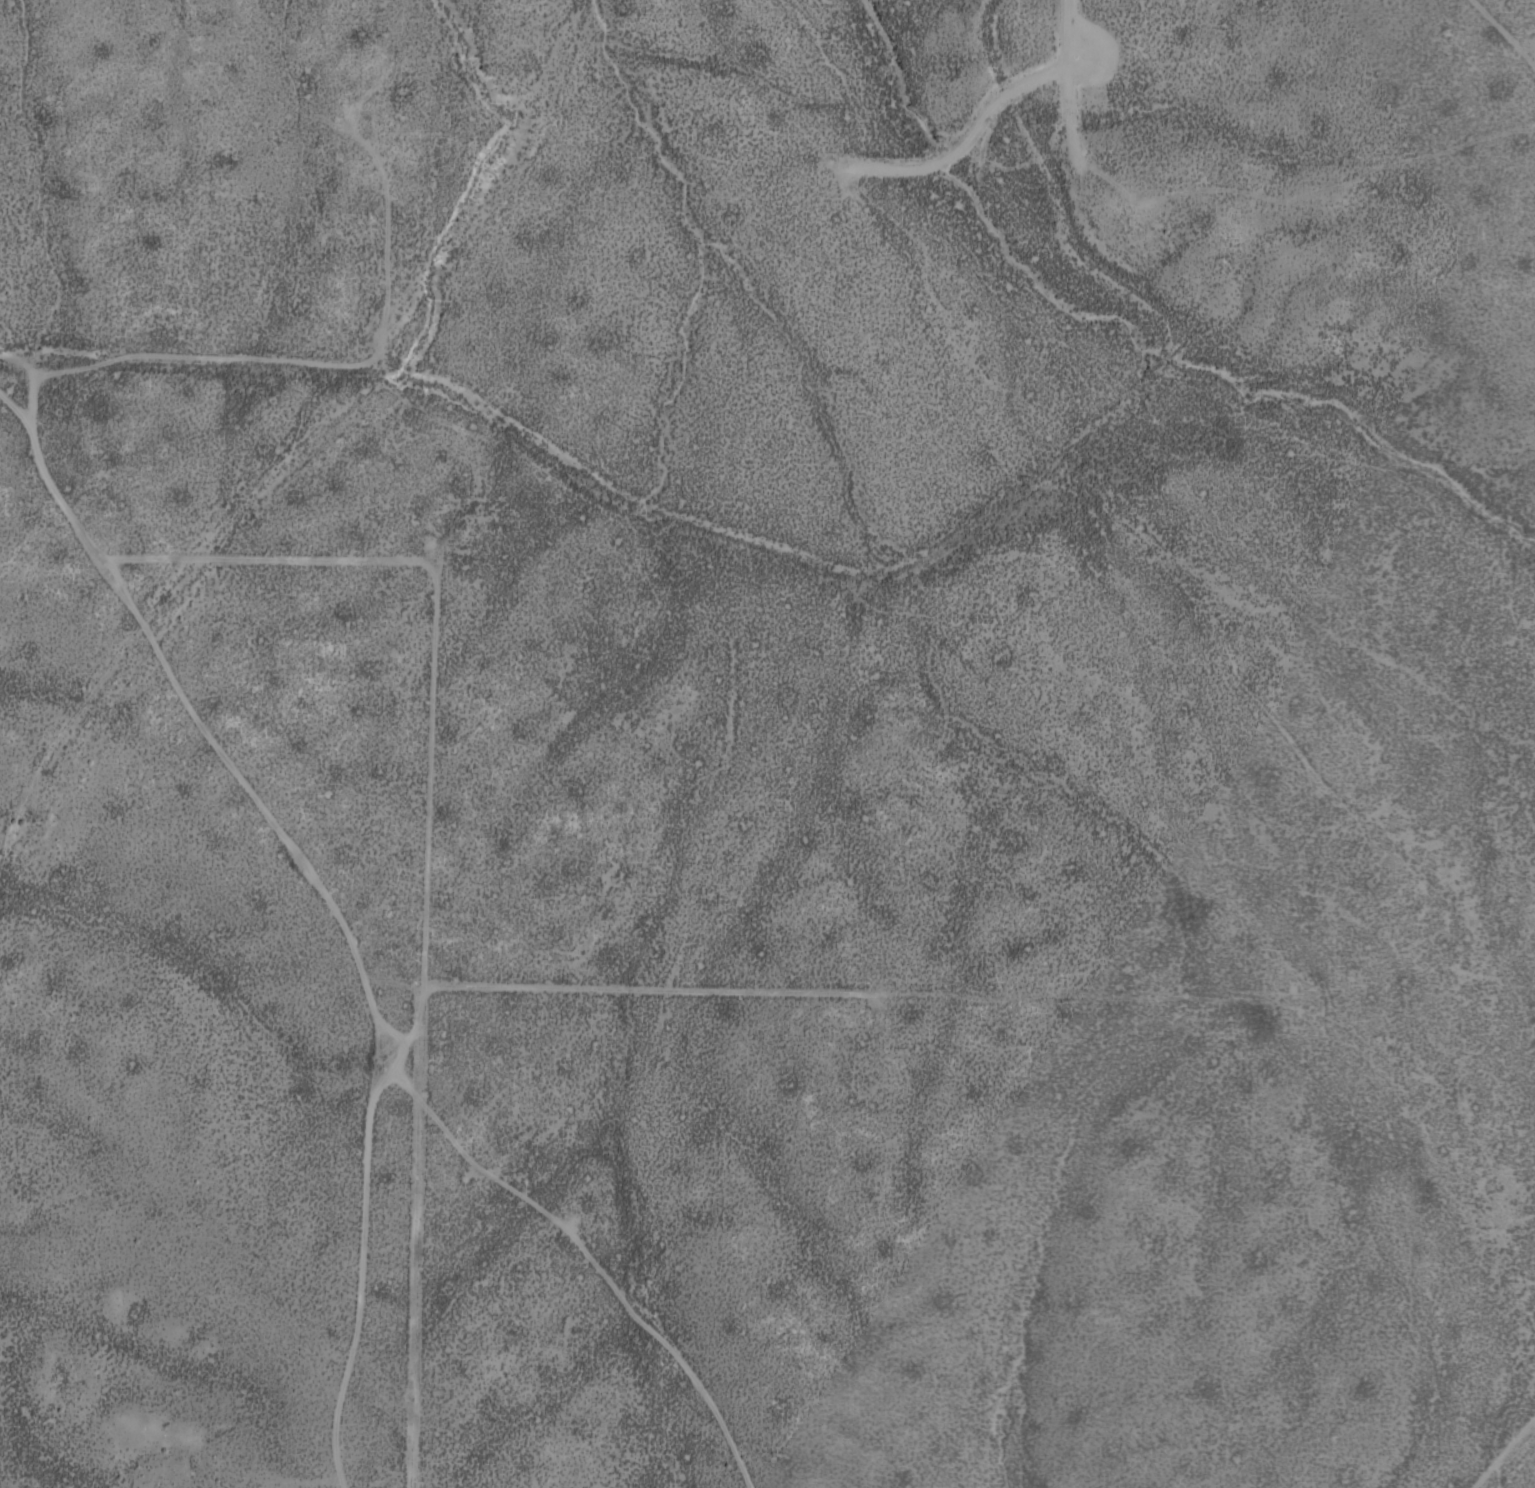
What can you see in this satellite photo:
road: (1505, 30)

